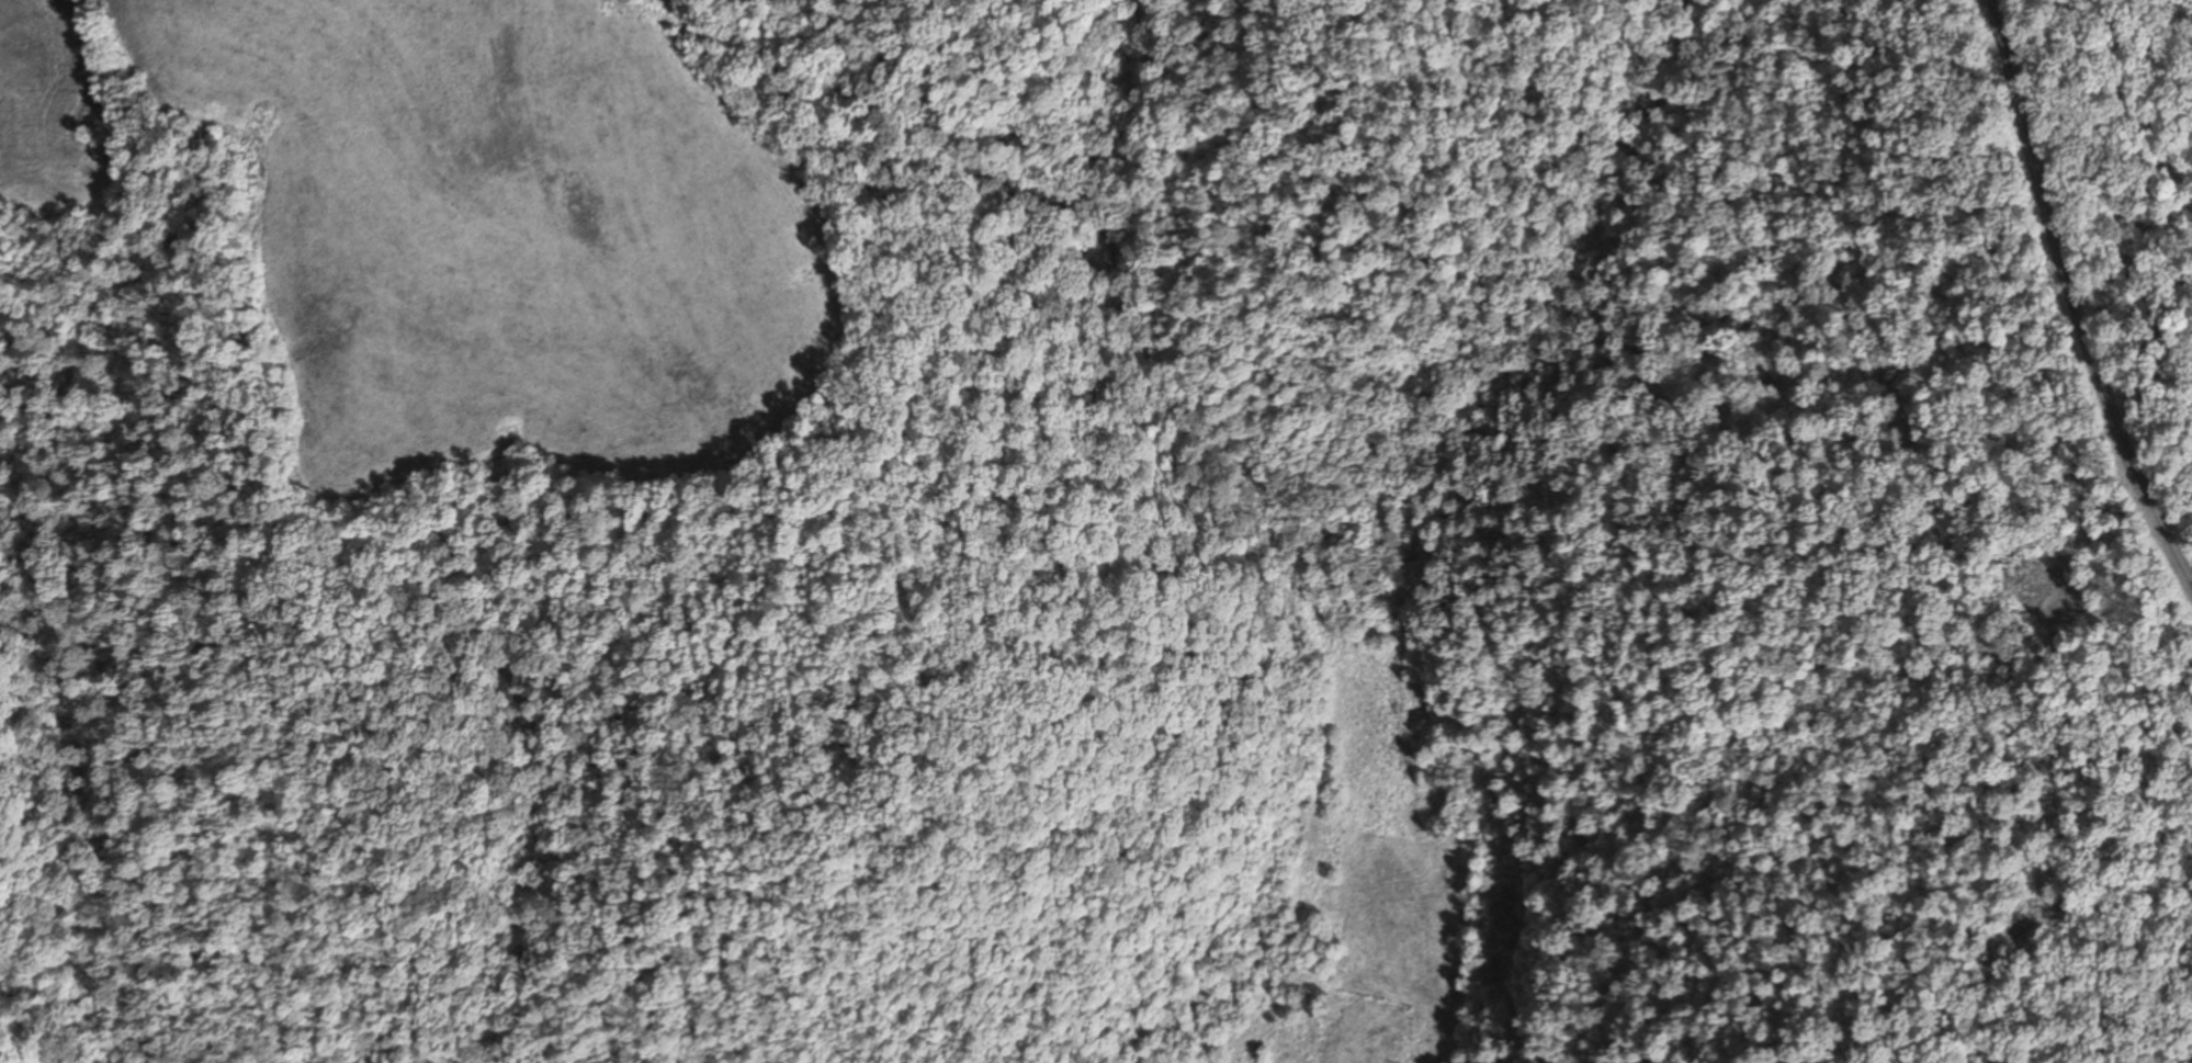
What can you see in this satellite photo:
road: (2080, 296)

